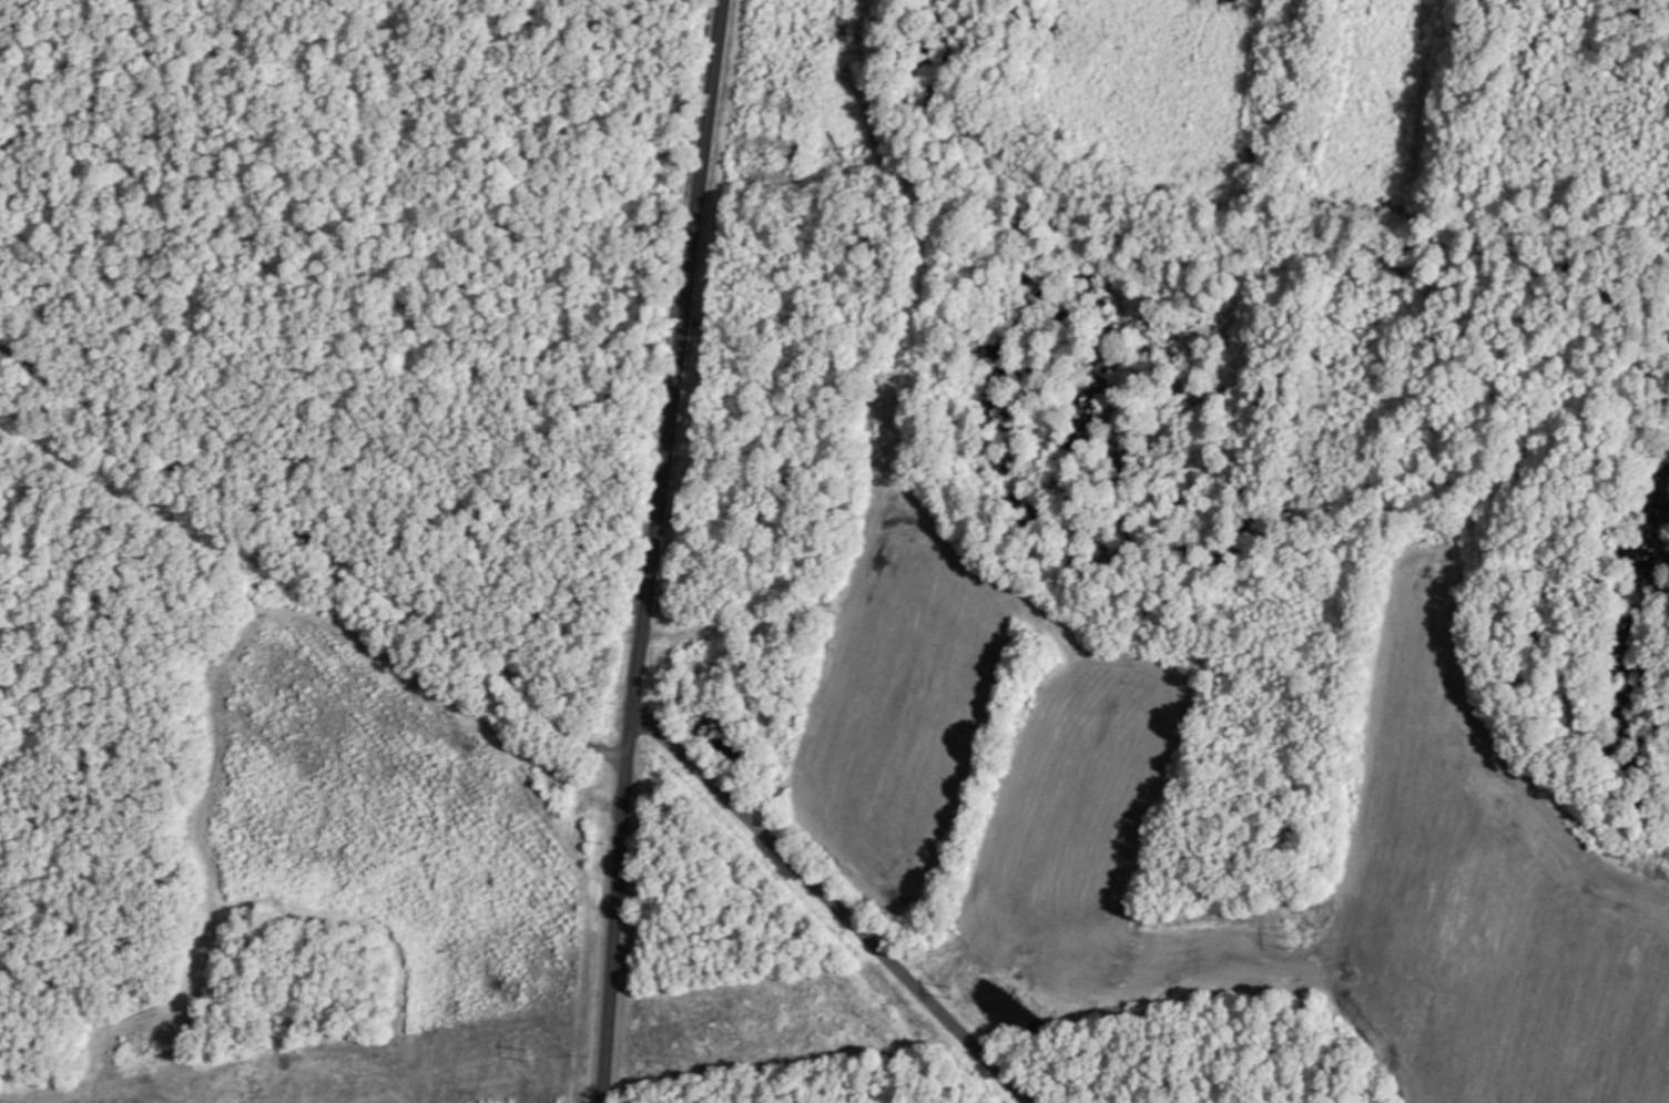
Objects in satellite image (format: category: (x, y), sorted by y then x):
road: (655, 550)
road: (313, 600)
road: (836, 906)
power tower: (1291, 943)
power tower: (956, 991)
power tower: (535, 1051)

